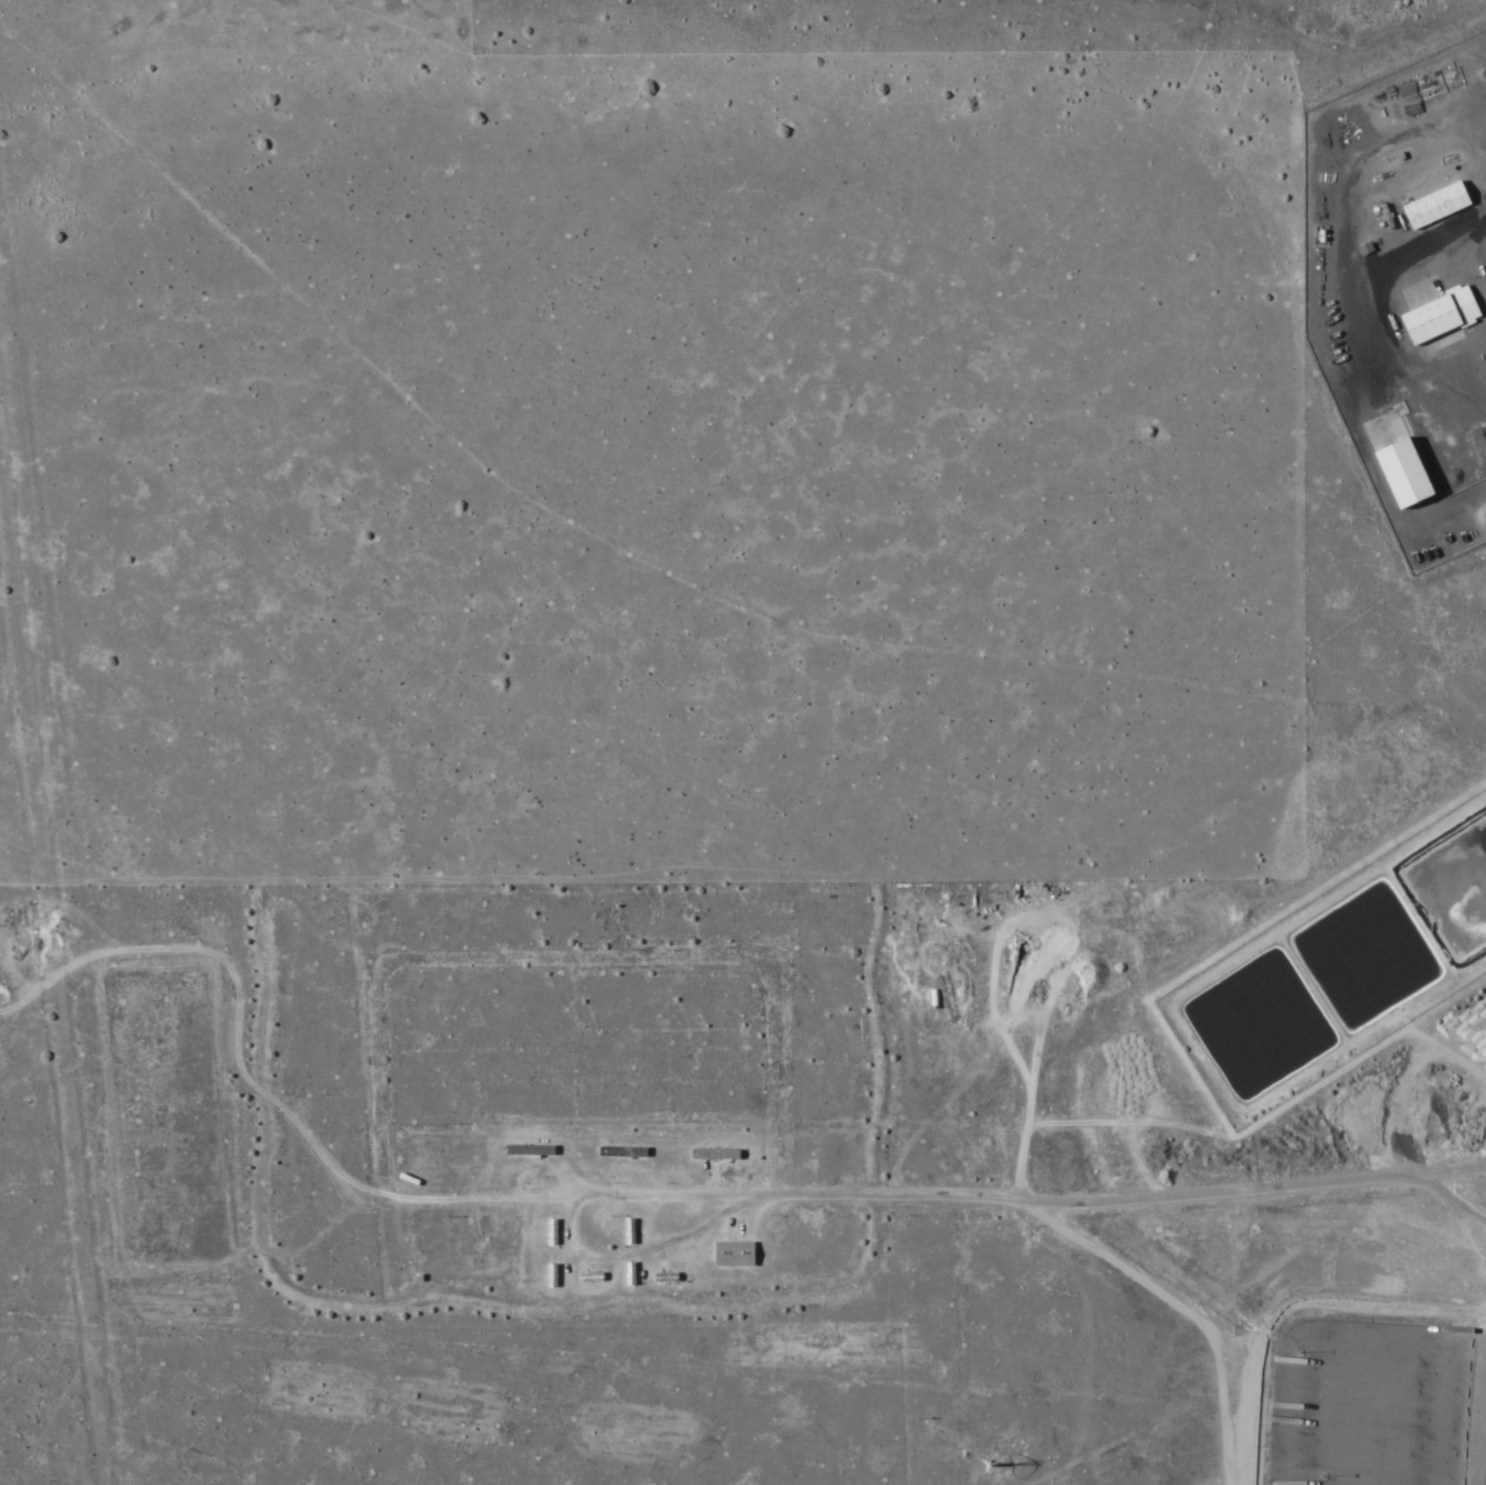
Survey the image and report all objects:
building: (1429, 208)
building: (1432, 317)
road: (1018, 920)
road: (235, 990)
building: (929, 1000)
road: (1024, 1139)
building: (525, 1152)
building: (617, 1153)
building: (709, 1155)
road: (1453, 1169)
road: (1259, 1186)
road: (698, 1197)
building: (626, 1232)
building: (546, 1233)
road: (640, 1252)
building: (729, 1255)
building: (626, 1274)
building: (547, 1276)
building: (585, 1278)
building: (660, 1278)
road: (1476, 1400)
parking lot: (1370, 1403)

